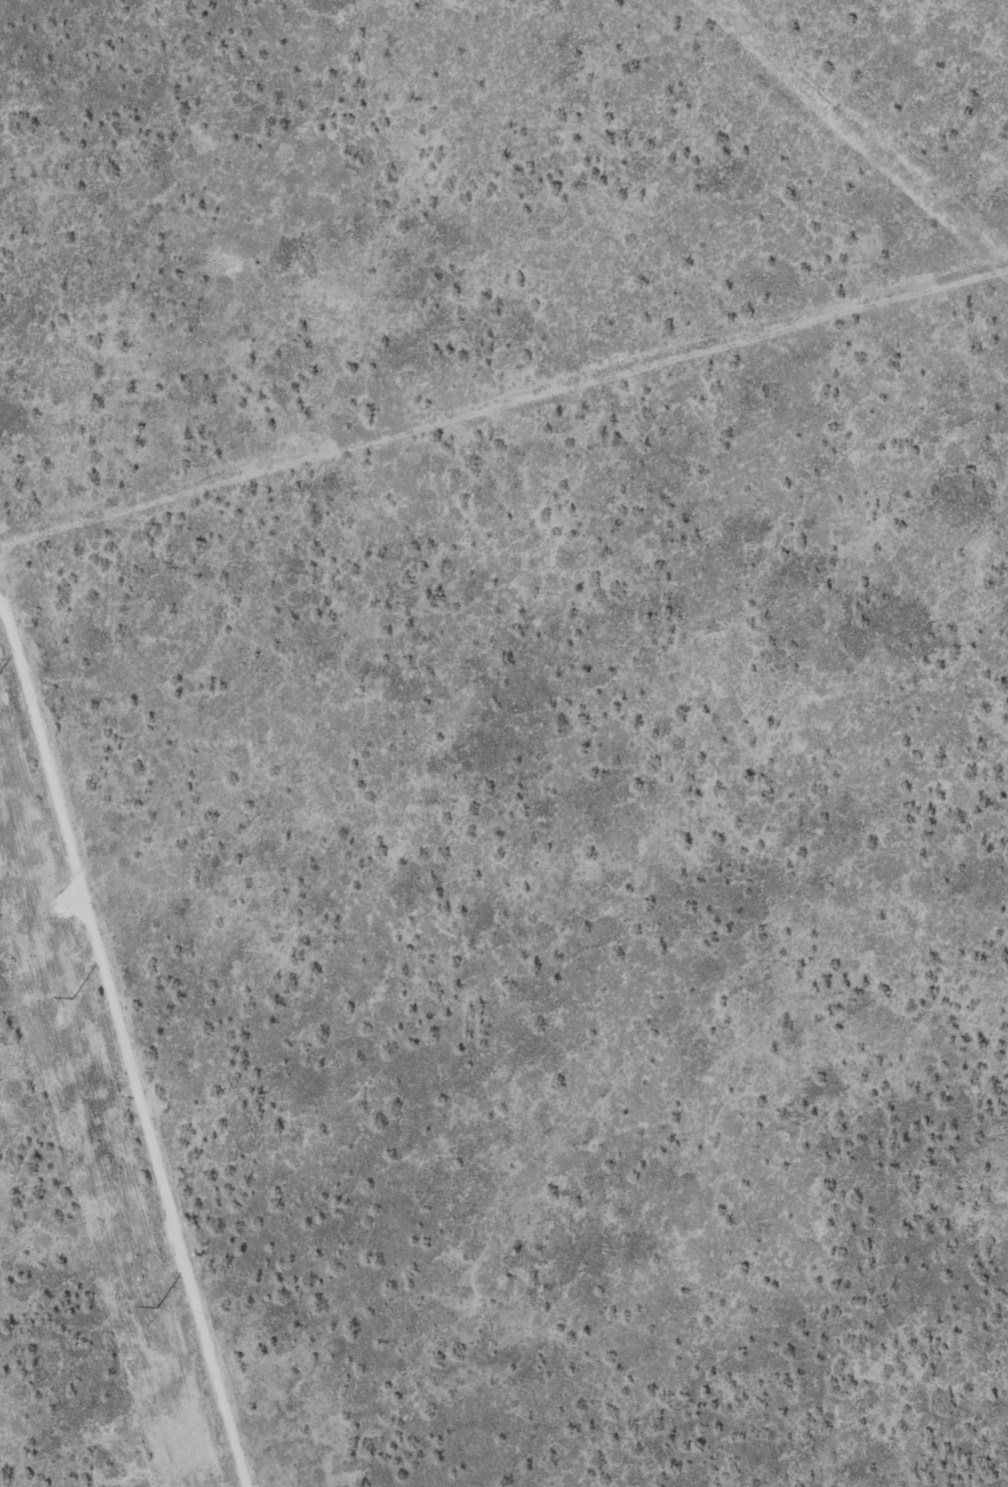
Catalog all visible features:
power tower: (73, 999)
power tower: (155, 1307)

